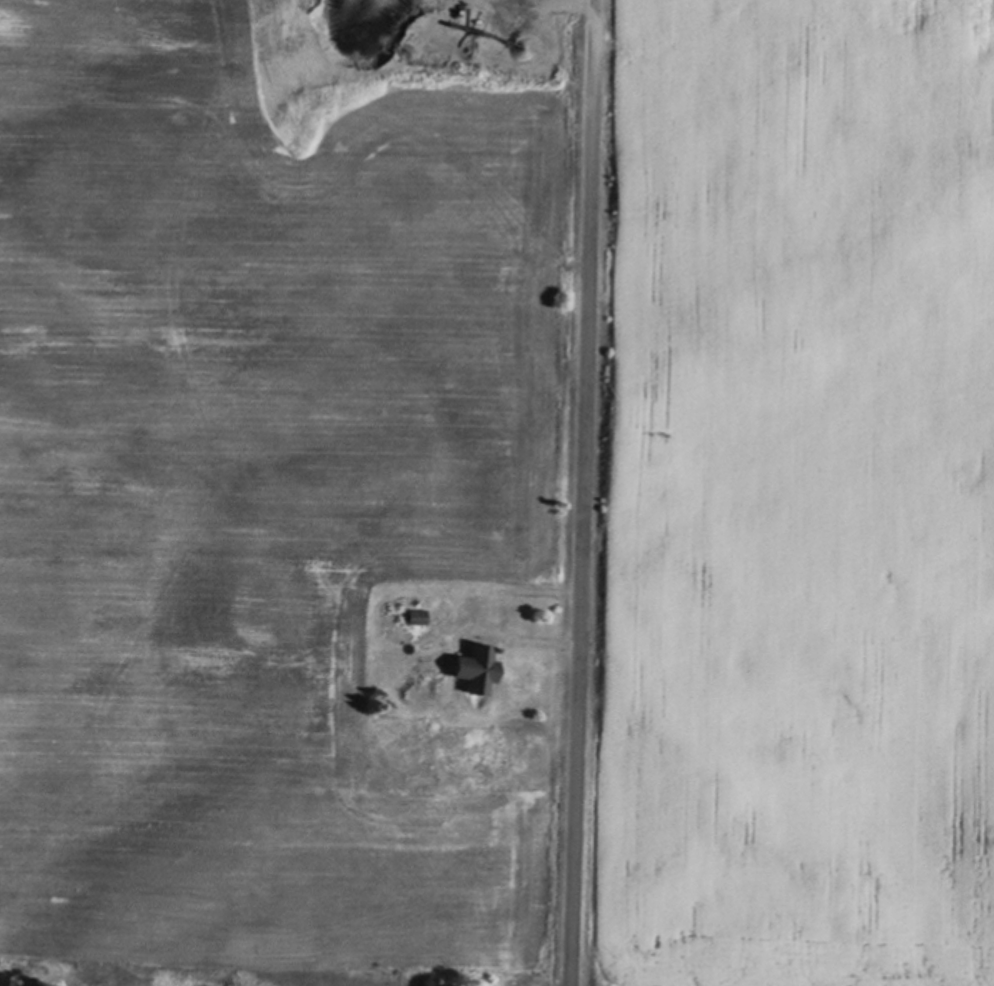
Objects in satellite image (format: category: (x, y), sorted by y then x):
road: (583, 493)
building: (418, 613)
building: (476, 664)

